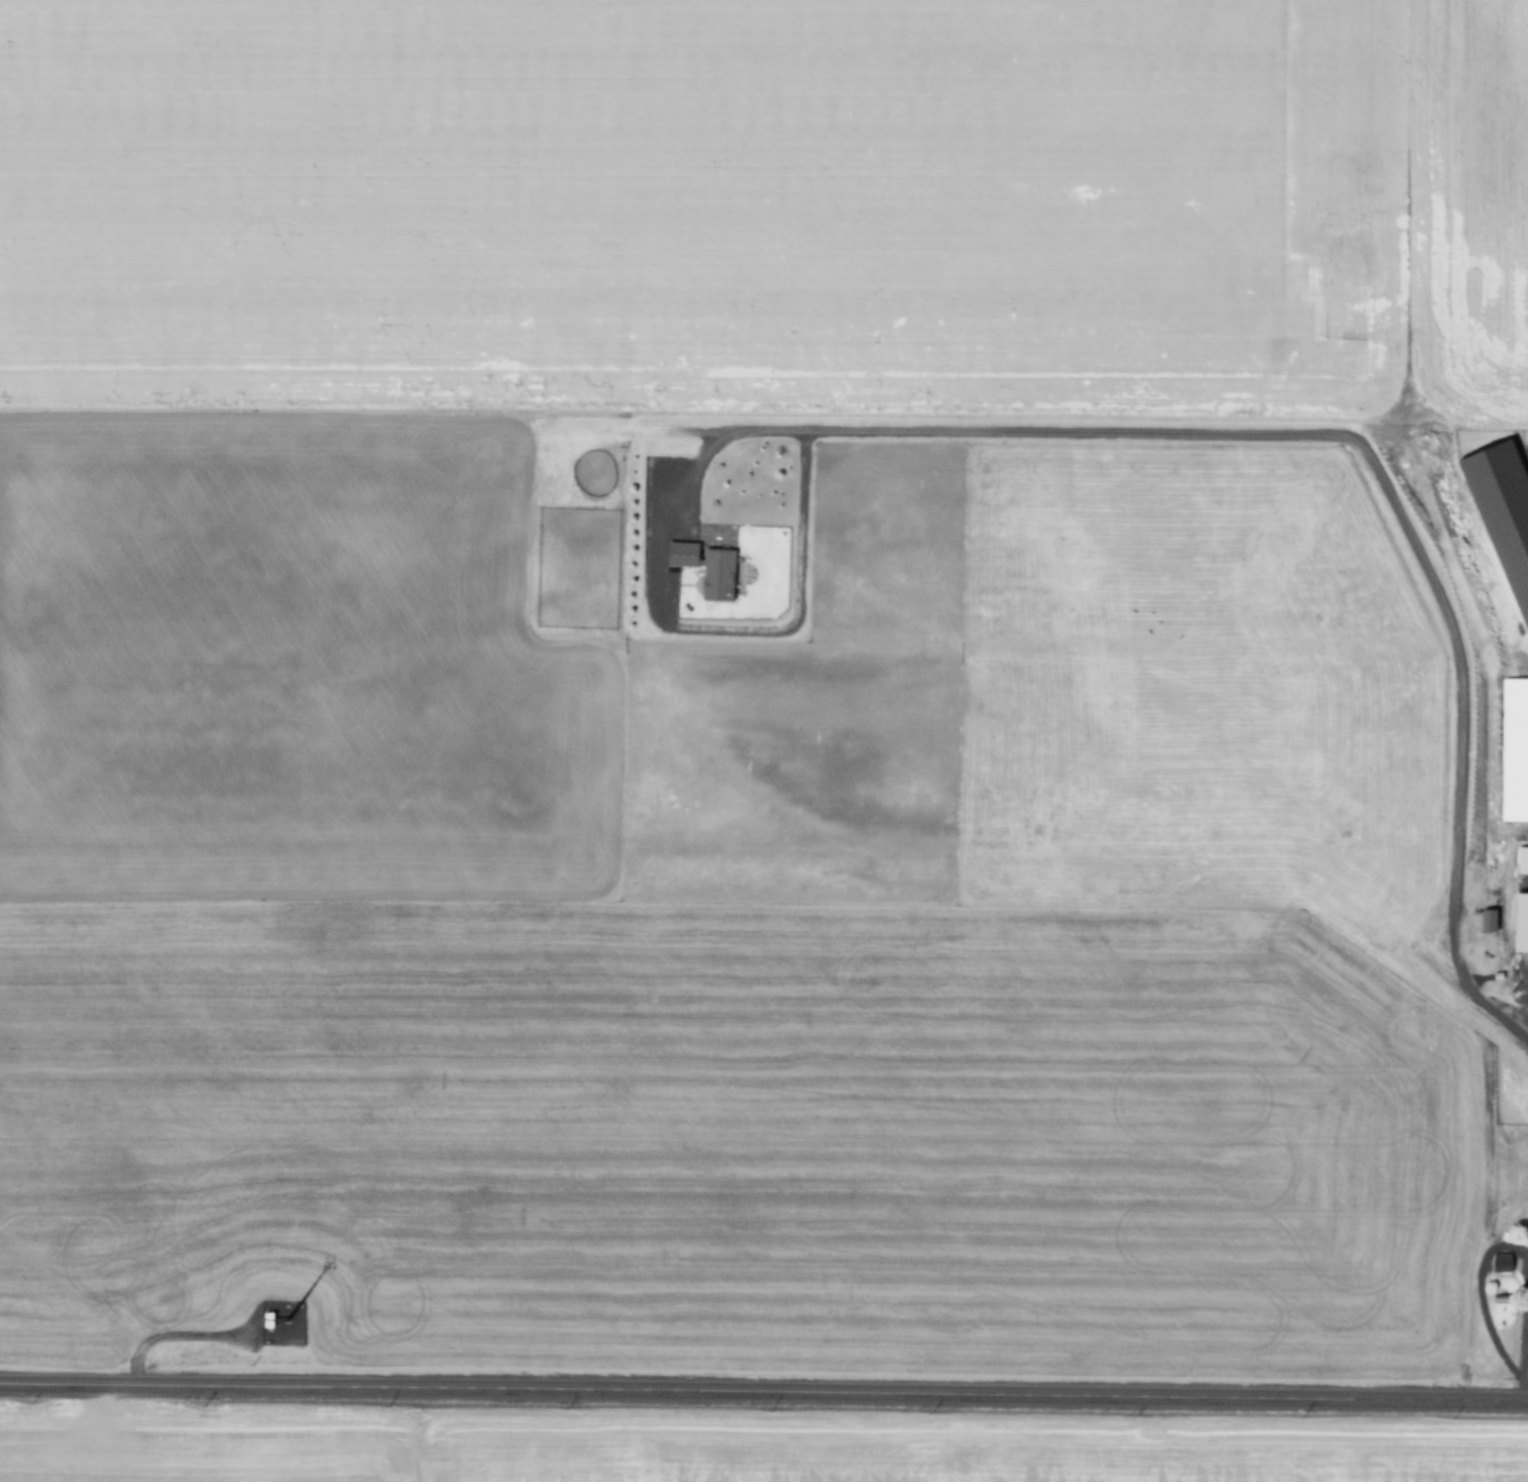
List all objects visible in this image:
road: (1005, 421)
building: (1514, 749)
building: (1483, 925)
building: (1525, 1179)
building: (268, 1319)
road: (763, 1391)

